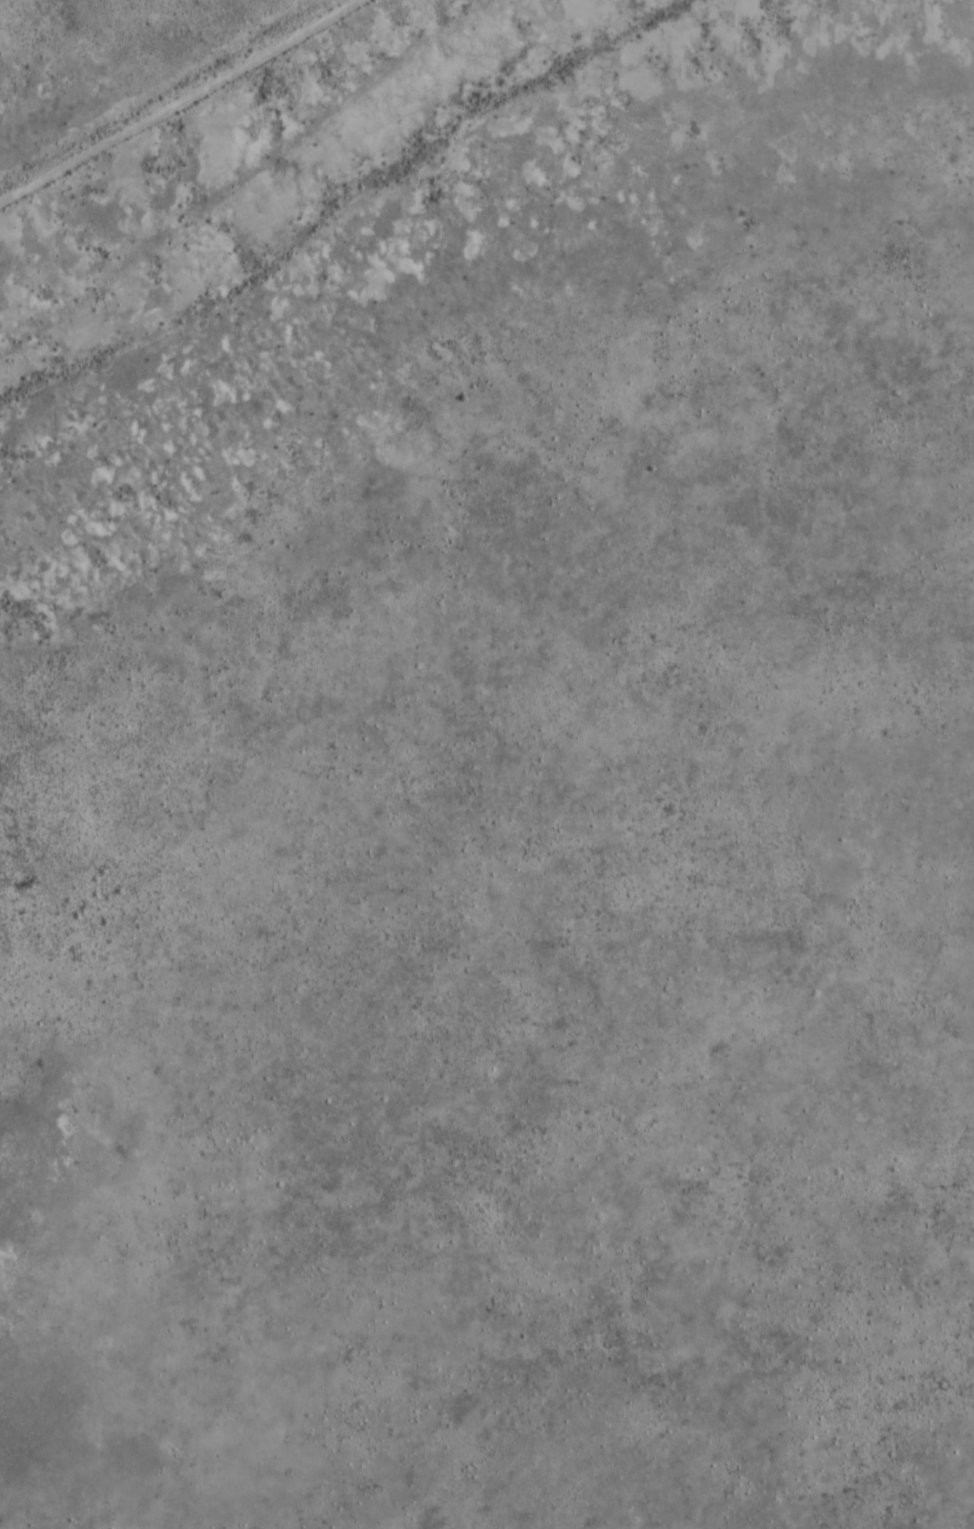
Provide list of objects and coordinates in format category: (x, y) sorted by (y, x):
road: (176, 102)

